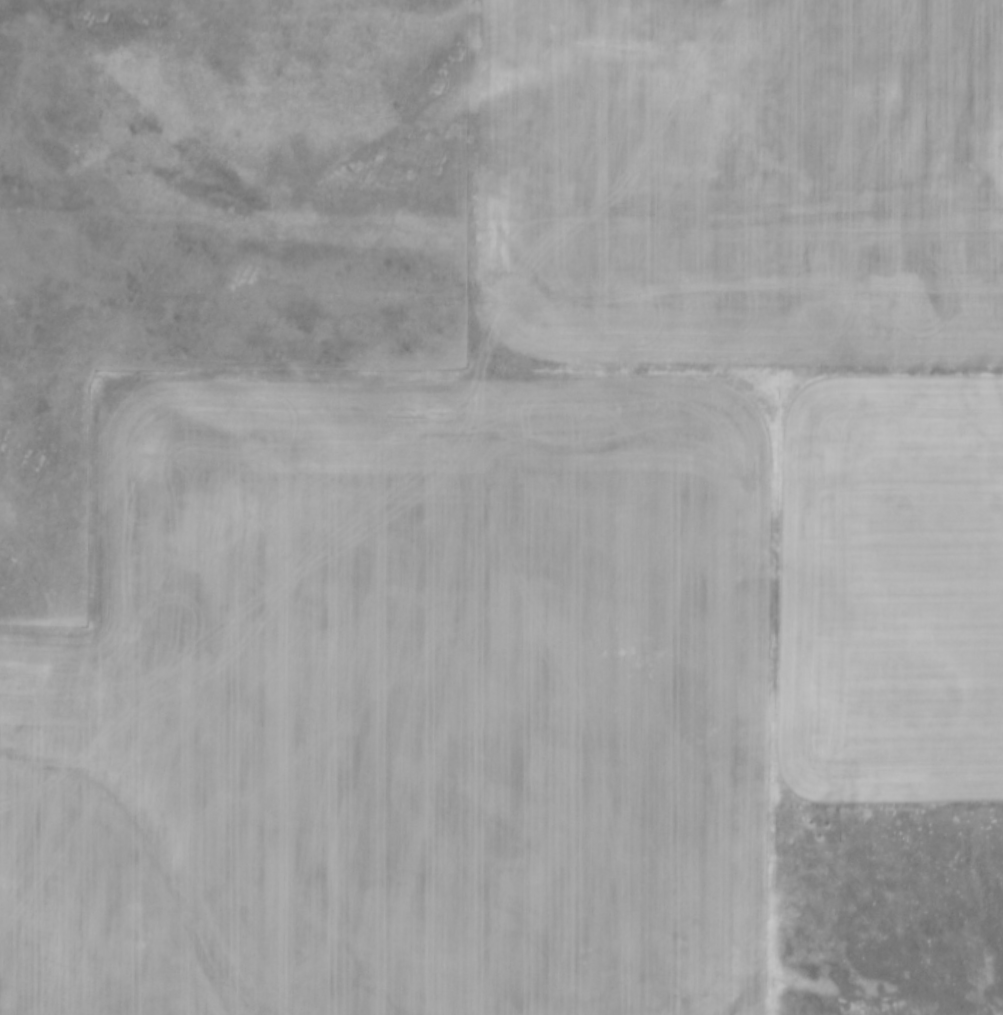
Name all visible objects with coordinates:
road: (388, 197)

